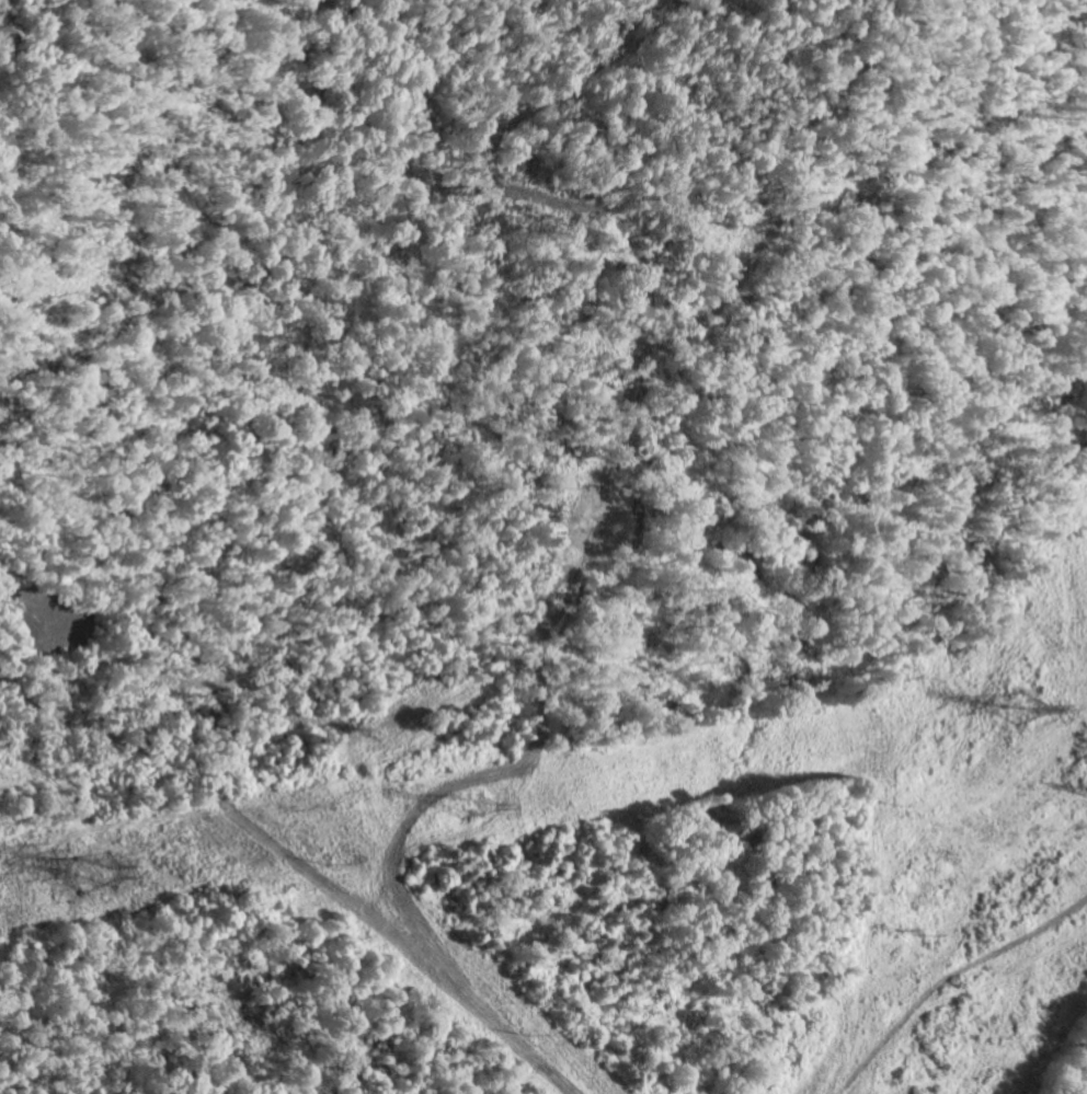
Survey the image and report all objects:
power tower: (1019, 706)
power tower: (469, 808)
power tower: (95, 875)

